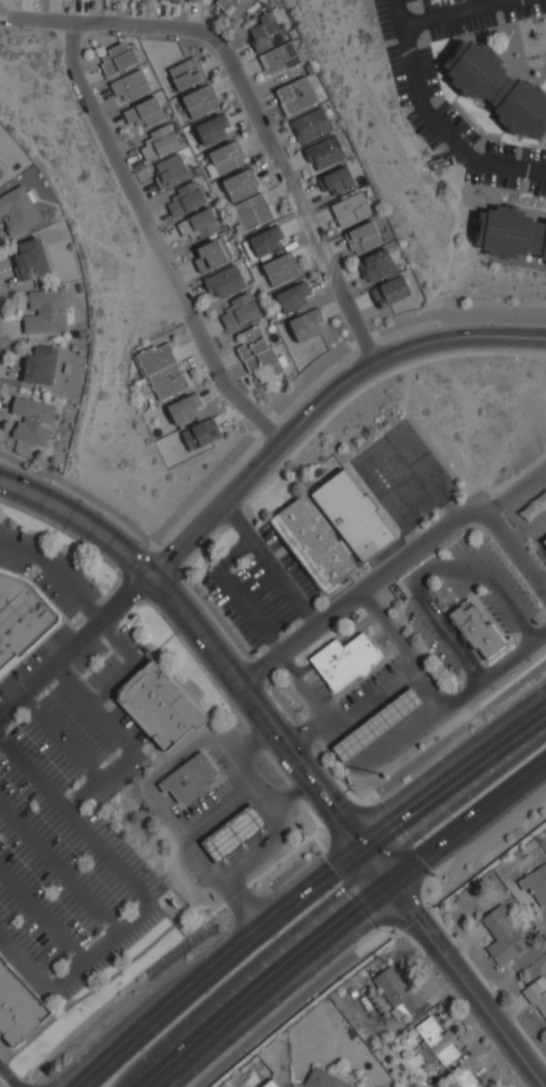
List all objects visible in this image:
building: (170, 0)
building: (194, 0)
parking lot: (407, 1)
parking lot: (438, 3)
building: (233, 7)
parking lot: (524, 11)
road: (452, 13)
parking lot: (383, 19)
parking lot: (461, 27)
building: (266, 32)
street lamp: (420, 39)
building: (116, 59)
building: (279, 59)
parking lot: (428, 72)
building: (185, 74)
parking lot: (397, 76)
building: (129, 87)
building: (497, 89)
building: (296, 96)
building: (198, 101)
street lamp: (451, 106)
road: (250, 107)
building: (144, 112)
street lamp: (404, 112)
road: (432, 121)
parking lot: (456, 124)
building: (310, 125)
building: (213, 130)
parking lot: (421, 130)
street lamp: (503, 141)
building: (160, 143)
street lamp: (441, 146)
parking lot: (498, 149)
building: (324, 153)
parking lot: (532, 156)
building: (225, 158)
building: (172, 172)
building: (0, 173)
parking lot: (491, 179)
building: (335, 180)
building: (240, 185)
parking lot: (536, 188)
building: (184, 199)
building: (350, 209)
building: (18, 210)
building: (251, 213)
building: (198, 224)
building: (509, 233)
building: (362, 238)
road: (153, 242)
building: (266, 242)
building: (209, 255)
building: (31, 259)
building: (377, 266)
building: (280, 268)
building: (223, 283)
building: (390, 292)
building: (293, 297)
building: (46, 312)
building: (237, 312)
building: (306, 325)
building: (257, 355)
street lamp: (347, 361)
building: (40, 365)
building: (162, 371)
road: (320, 401)
building: (184, 409)
building: (32, 420)
building: (201, 434)
road: (374, 450)
parking lot: (403, 488)
road: (515, 491)
building: (353, 516)
parking lot: (267, 538)
street lamp: (487, 538)
building: (544, 541)
street lamp: (140, 542)
building: (312, 543)
parking lot: (457, 547)
road: (398, 564)
parking lot: (13, 565)
road: (269, 565)
road: (429, 568)
road: (55, 572)
parking lot: (298, 577)
parking lot: (506, 579)
street lamp: (103, 588)
street lamp: (432, 594)
road: (235, 595)
parking lot: (264, 595)
parking lot: (445, 595)
street lamp: (530, 595)
parking lot: (53, 596)
street lamp: (265, 596)
parking lot: (228, 611)
parking lot: (496, 613)
building: (20, 621)
building: (475, 628)
road: (387, 629)
street lamp: (335, 630)
parking lot: (430, 642)
road: (75, 644)
street lamp: (394, 652)
road: (214, 655)
parking lot: (87, 657)
parking lot: (33, 659)
building: (343, 660)
road: (496, 669)
parking lot: (100, 672)
street lamp: (303, 677)
street lamp: (82, 678)
parking lot: (369, 684)
road: (305, 687)
parking lot: (316, 688)
road: (436, 694)
building: (158, 705)
parking lot: (76, 724)
street lamp: (16, 725)
building: (377, 726)
gas station: (377, 726)
power tower: (376, 773)
building: (189, 780)
street lamp: (524, 794)
building: (233, 834)
traffic signals: (370, 855)
street lamp: (23, 865)
street lamp: (157, 874)
traffic signals: (387, 879)
building: (535, 884)
road: (315, 900)
road: (338, 918)
building: (501, 936)
road: (0, 937)
street lamp: (95, 941)
road: (466, 981)
building: (396, 992)
building: (537, 995)
street lamp: (273, 1000)
building: (18, 1005)
building: (436, 1041)
road: (9, 1079)
building: (324, 1079)
building: (465, 1080)
building: (269, 1084)

